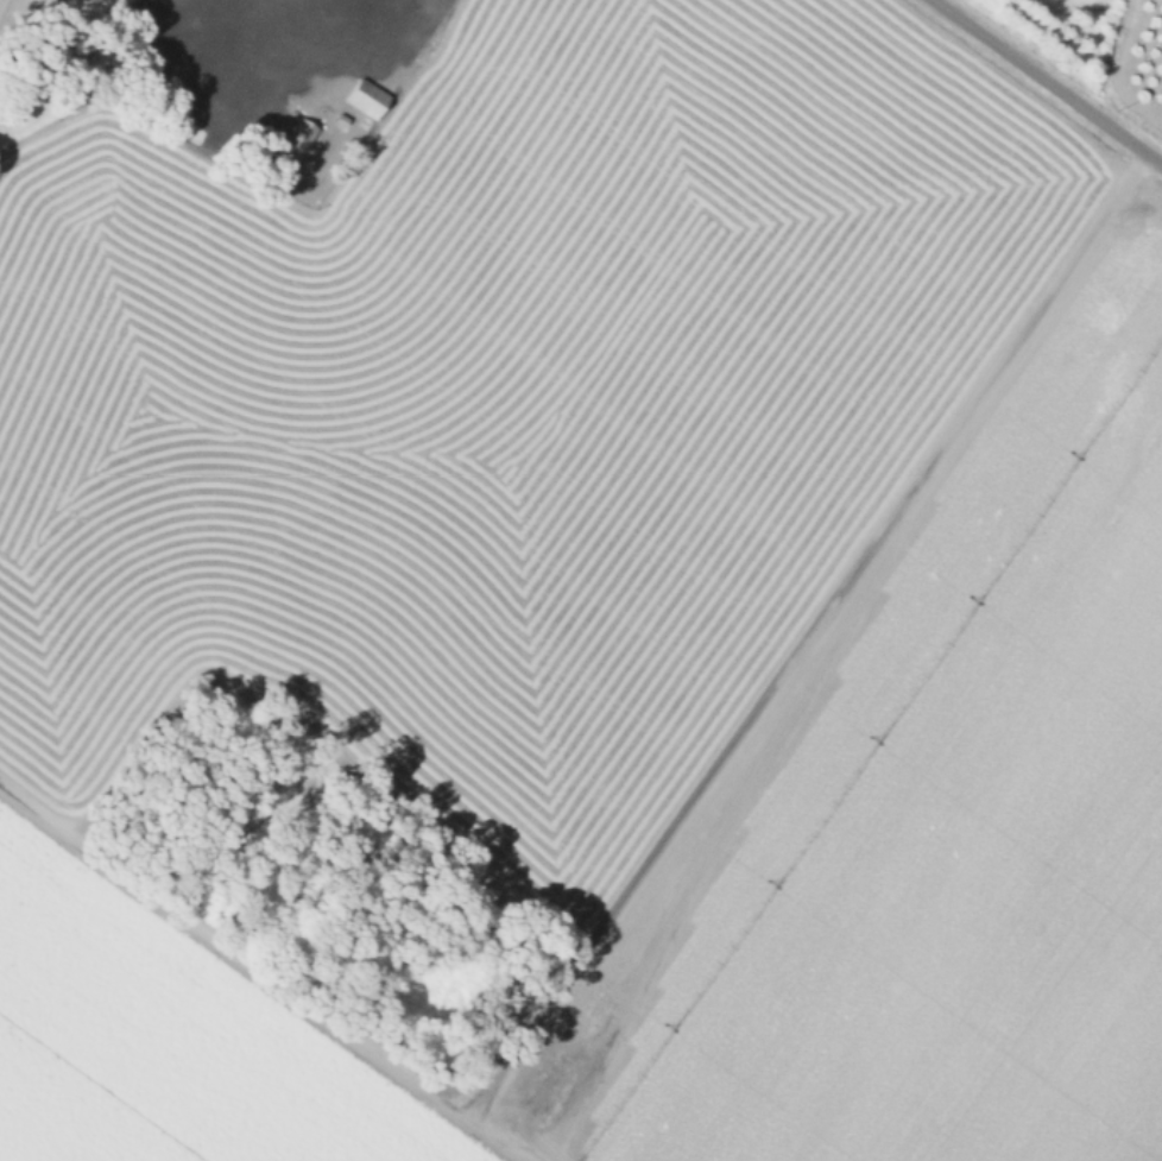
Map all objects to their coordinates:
road: (1047, 82)
building: (364, 99)
building: (292, 146)
crop: (451, 513)
crop: (1047, 922)

